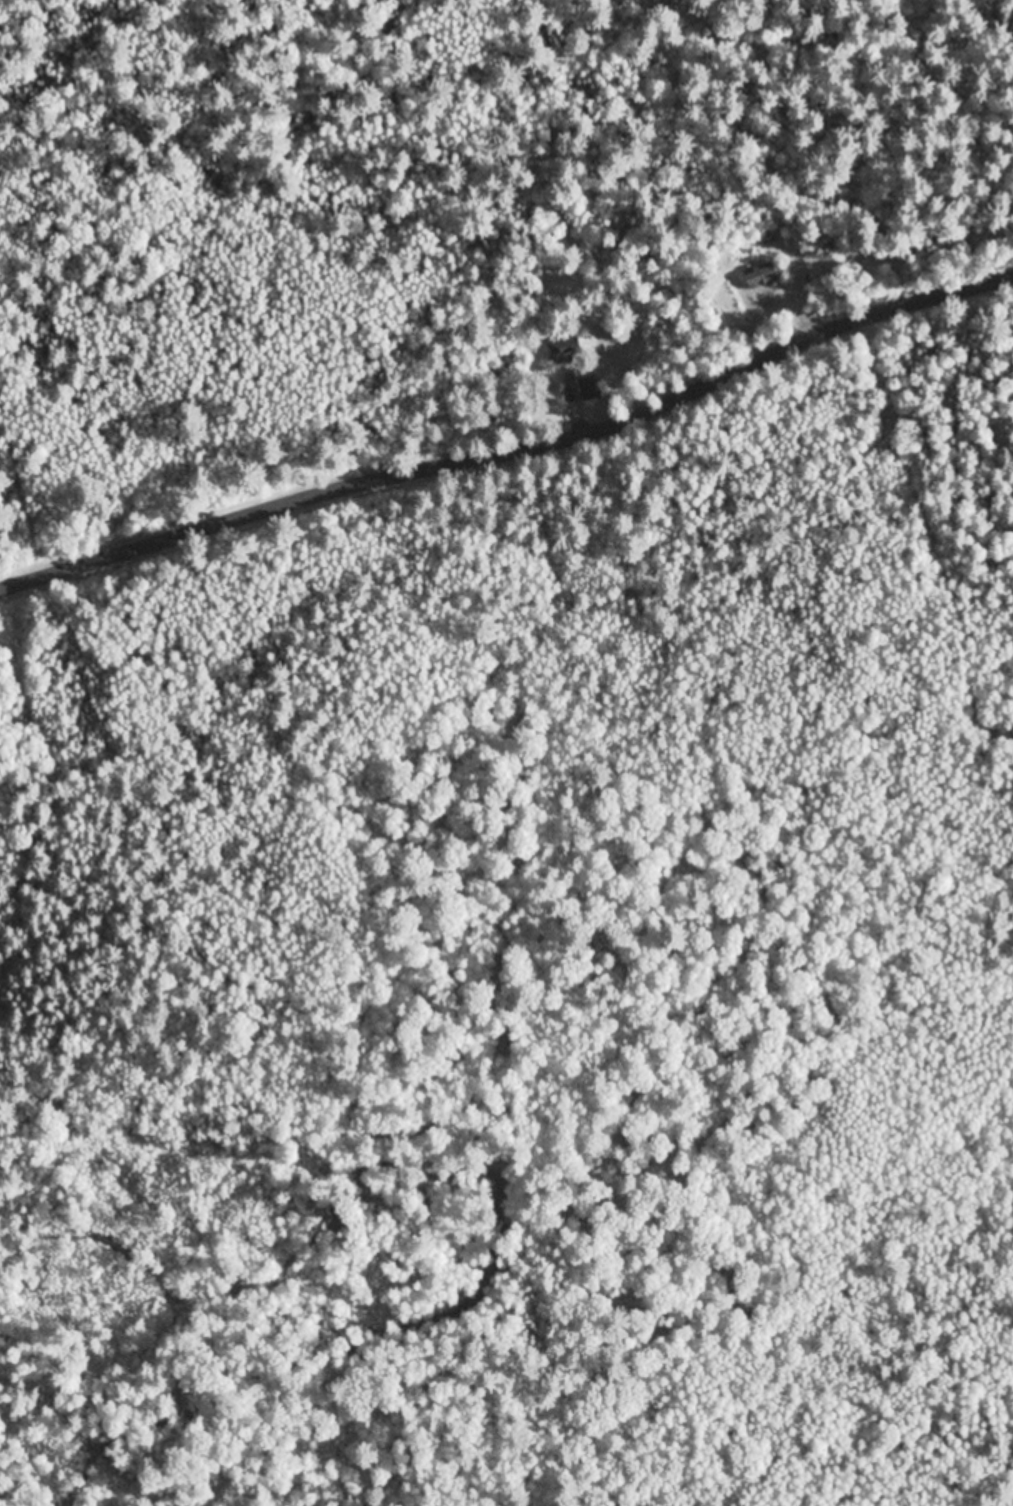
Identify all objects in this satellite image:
building: (754, 272)
road: (512, 448)

